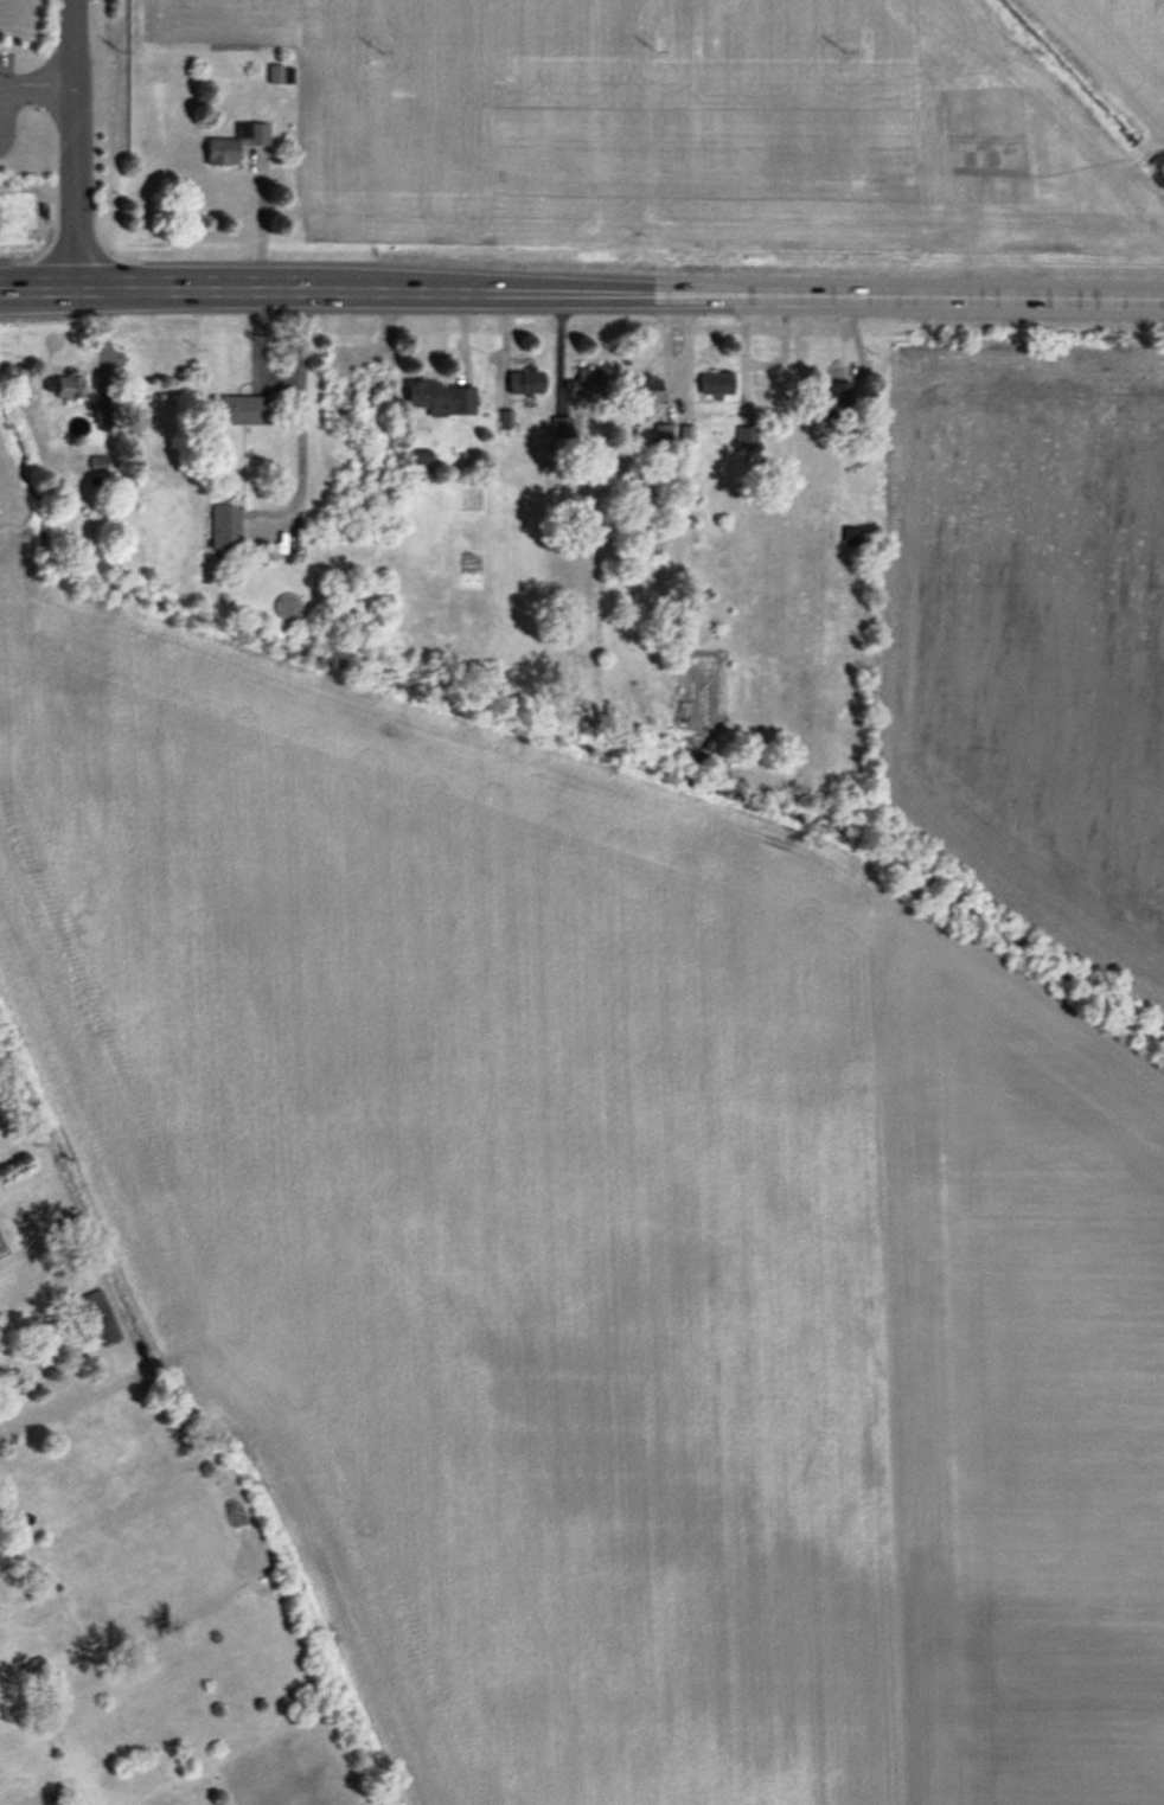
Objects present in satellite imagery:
building: (276, 73)
road: (36, 90)
crop: (719, 121)
building: (236, 142)
road: (70, 143)
road: (252, 216)
road: (360, 284)
road: (33, 287)
road: (909, 294)
road: (247, 350)
building: (587, 380)
building: (716, 382)
building: (526, 383)
building: (65, 384)
building: (354, 393)
building: (645, 395)
building: (831, 395)
building: (440, 397)
building: (241, 409)
road: (294, 418)
building: (506, 418)
building: (663, 433)
building: (686, 434)
building: (747, 435)
building: (563, 440)
building: (418, 456)
building: (224, 525)
crop: (665, 1158)
building: (101, 1316)
building: (31, 1663)

